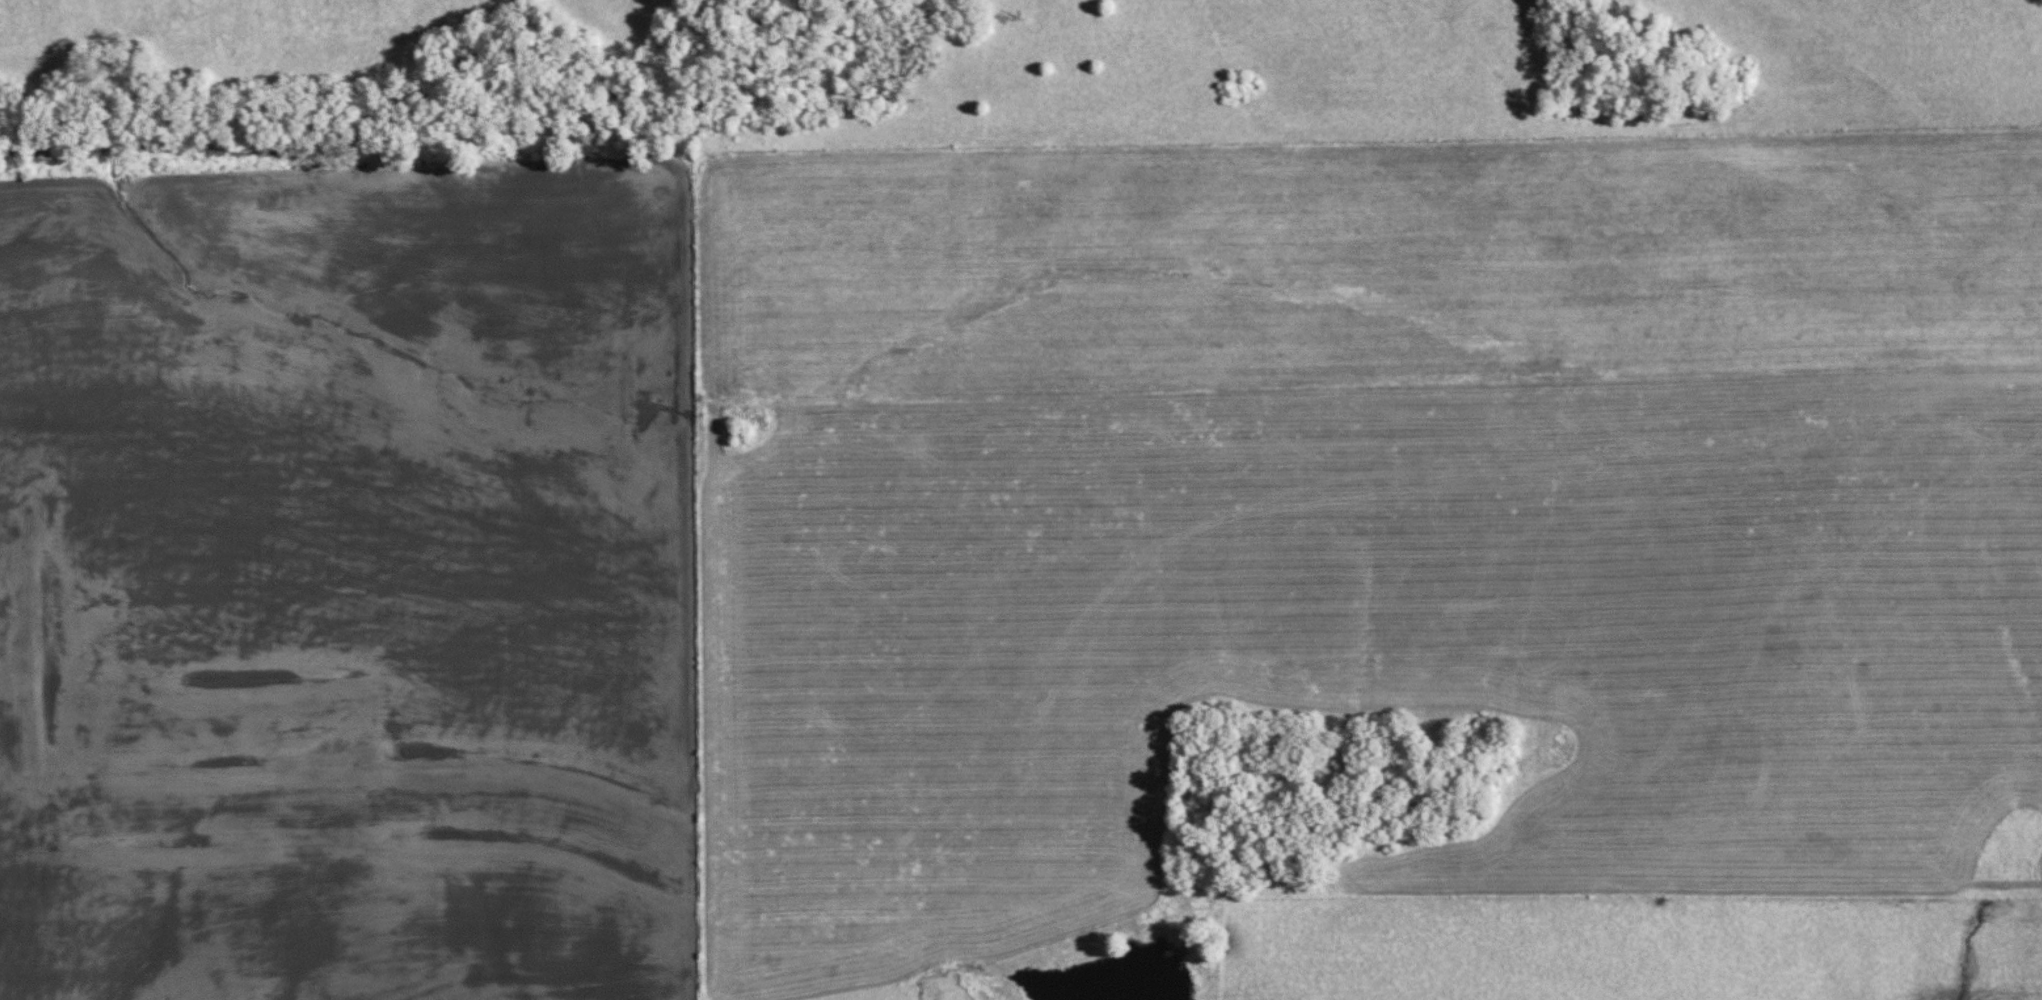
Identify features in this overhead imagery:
crop: (1364, 267)
crop: (360, 537)
crop: (1352, 649)
crop: (221, 930)

